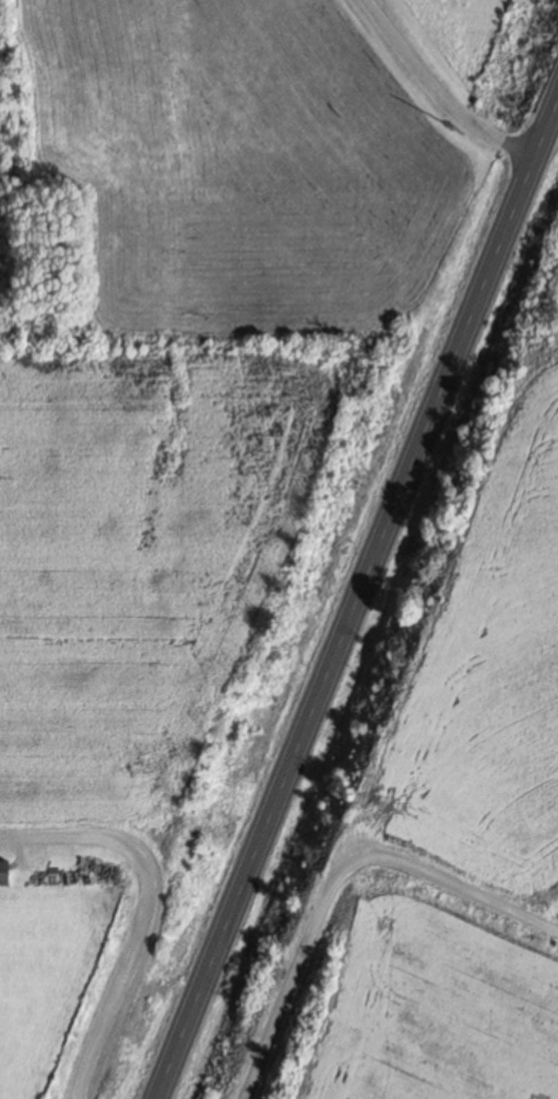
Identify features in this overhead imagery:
road: (441, 90)
road: (549, 144)
road: (356, 599)
building: (3, 875)
road: (337, 877)
road: (144, 912)

